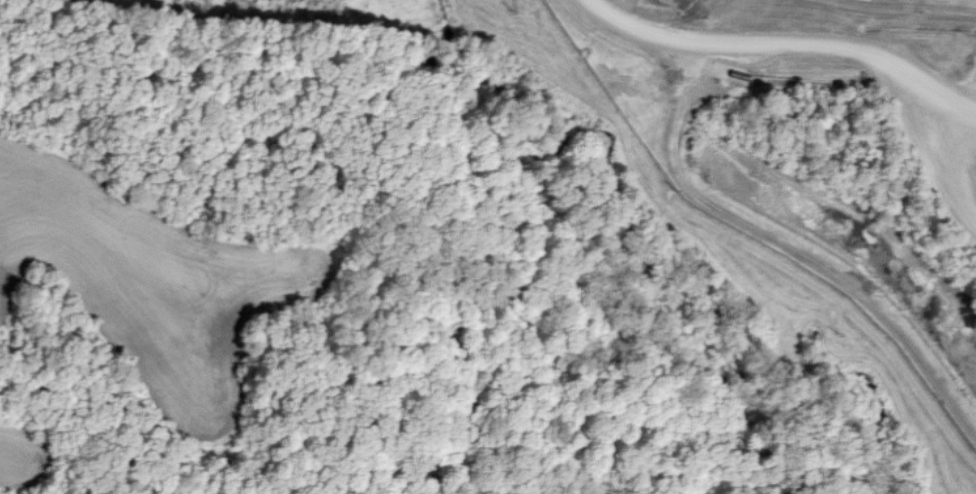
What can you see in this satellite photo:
road: (785, 41)

